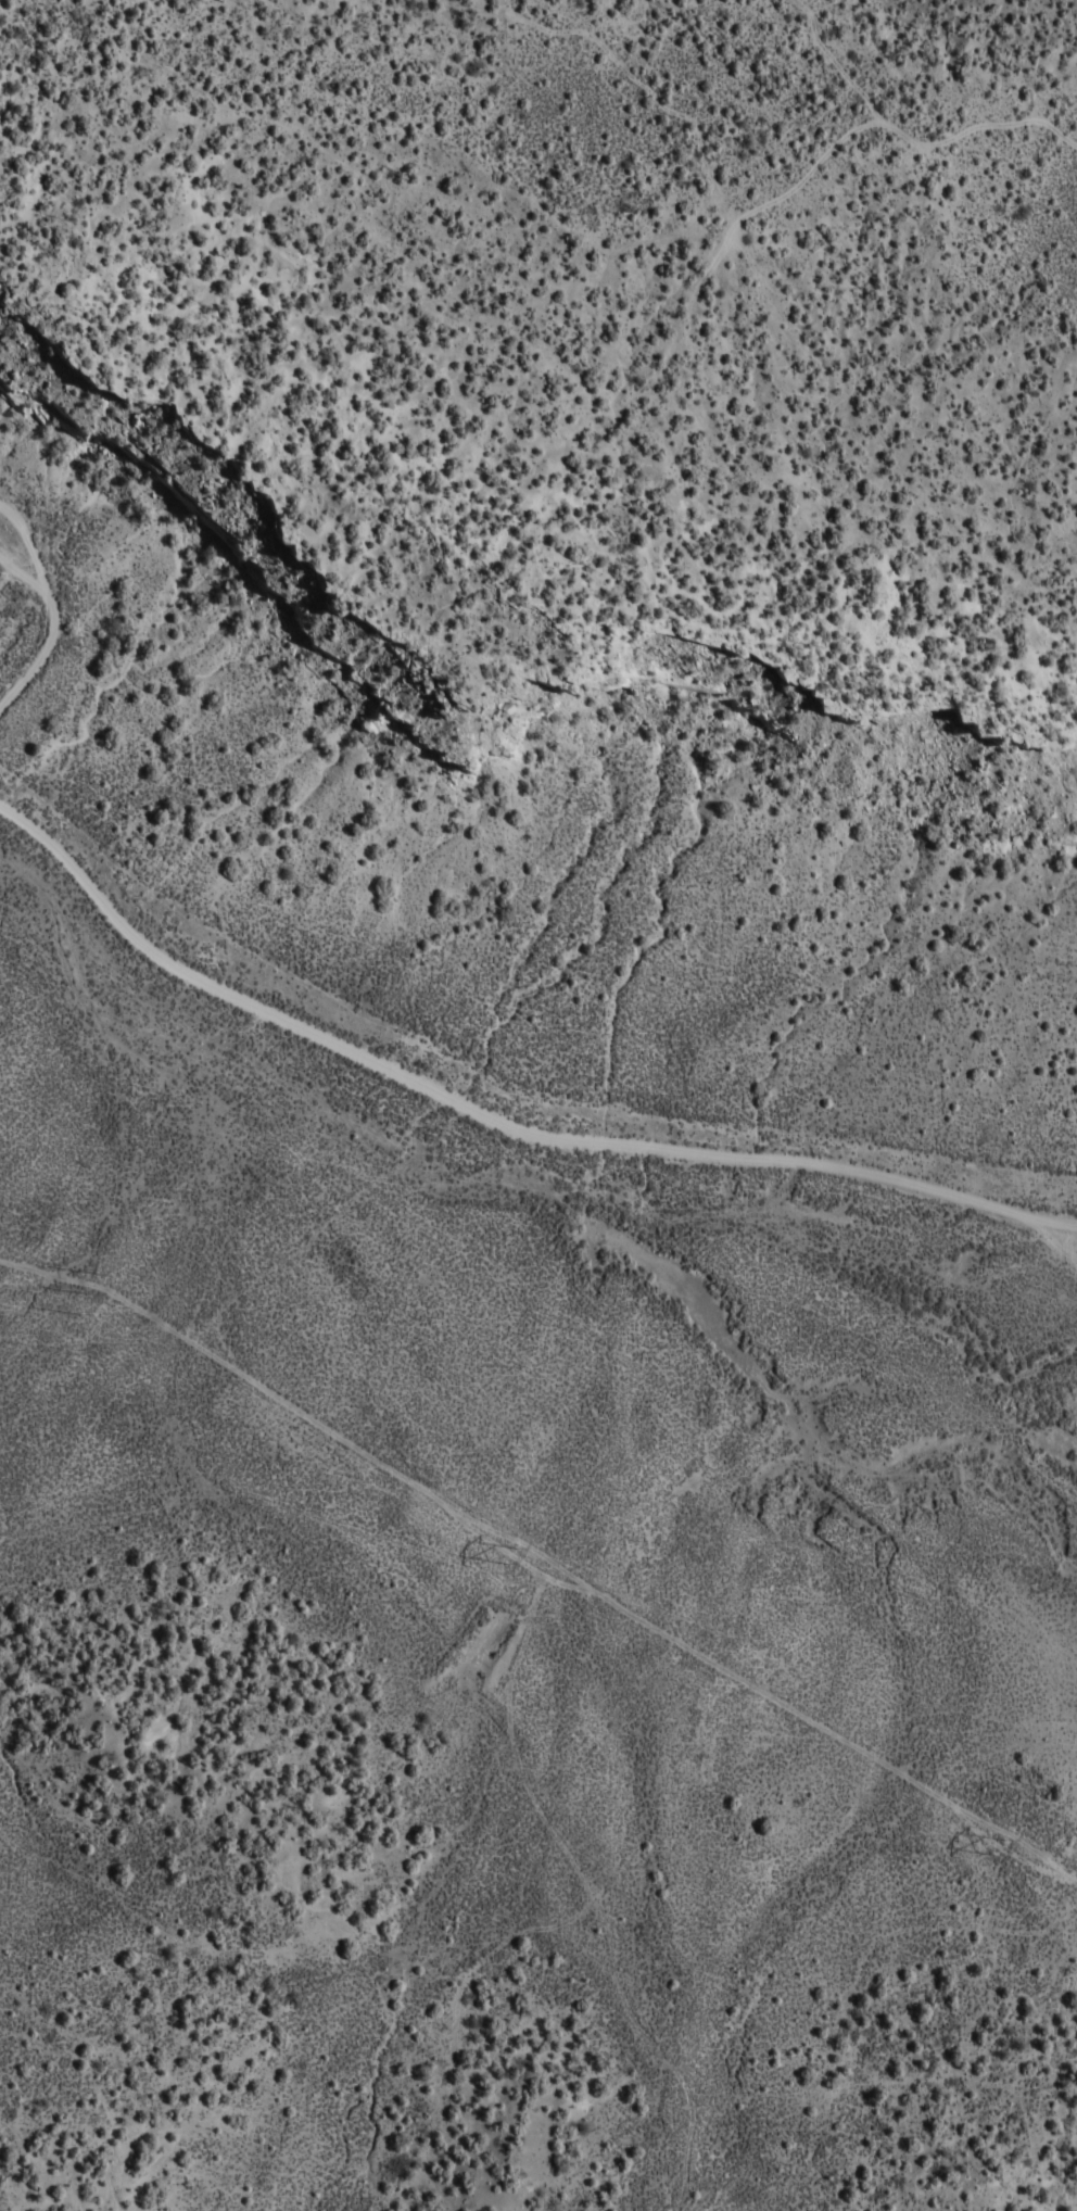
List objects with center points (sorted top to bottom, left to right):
road: (481, 1094)
river: (554, 1220)
power tower: (87, 1296)
power tower: (515, 1557)
power tower: (1005, 1849)

